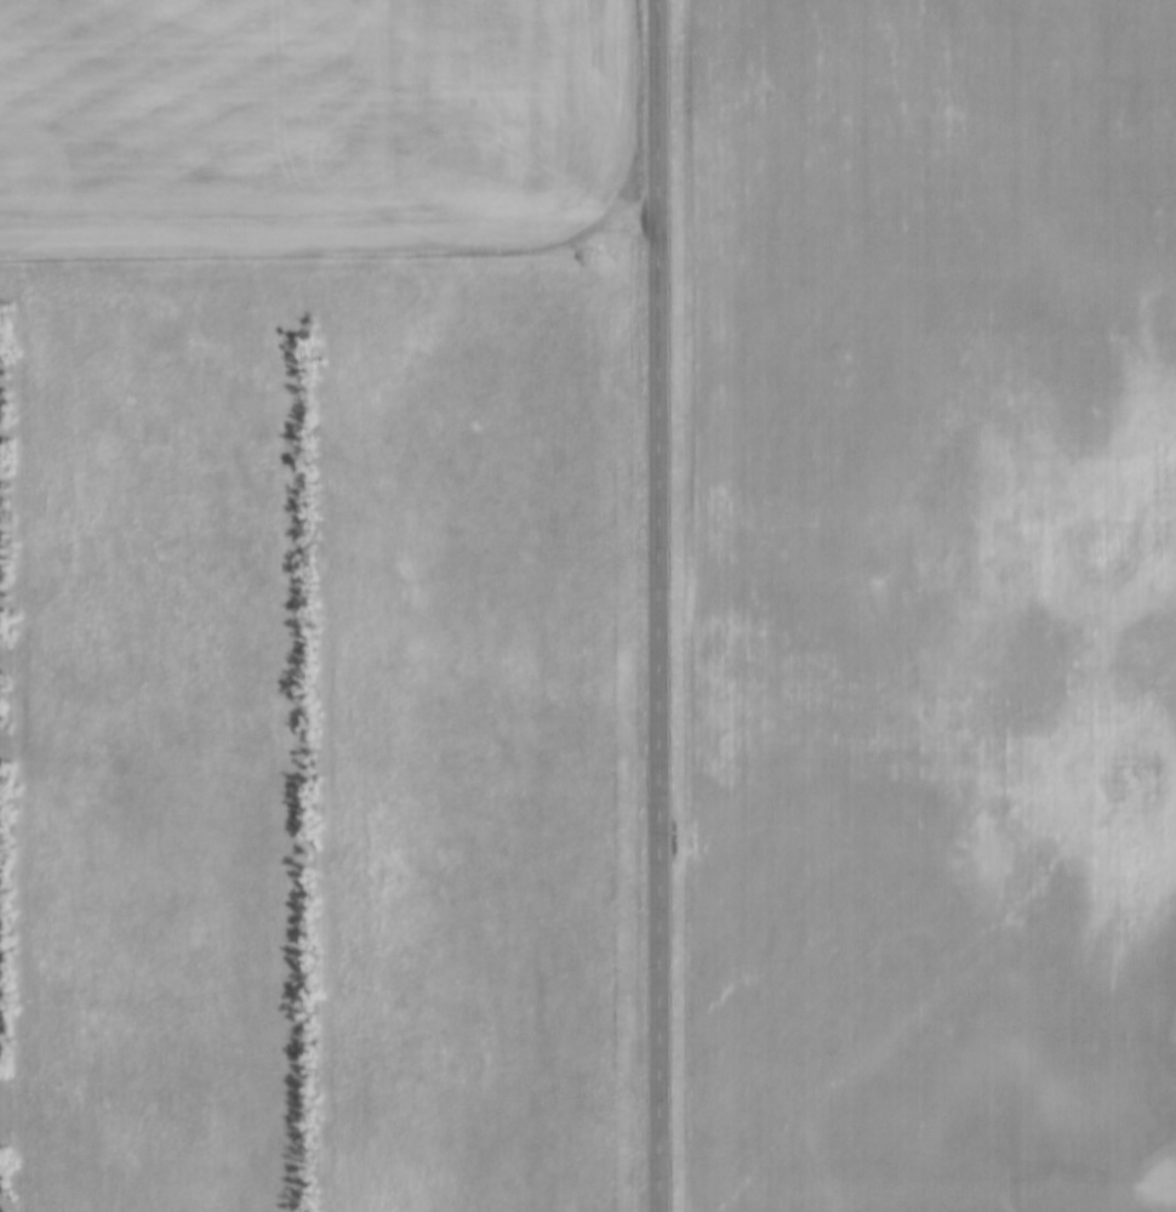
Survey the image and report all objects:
road: (657, 605)

